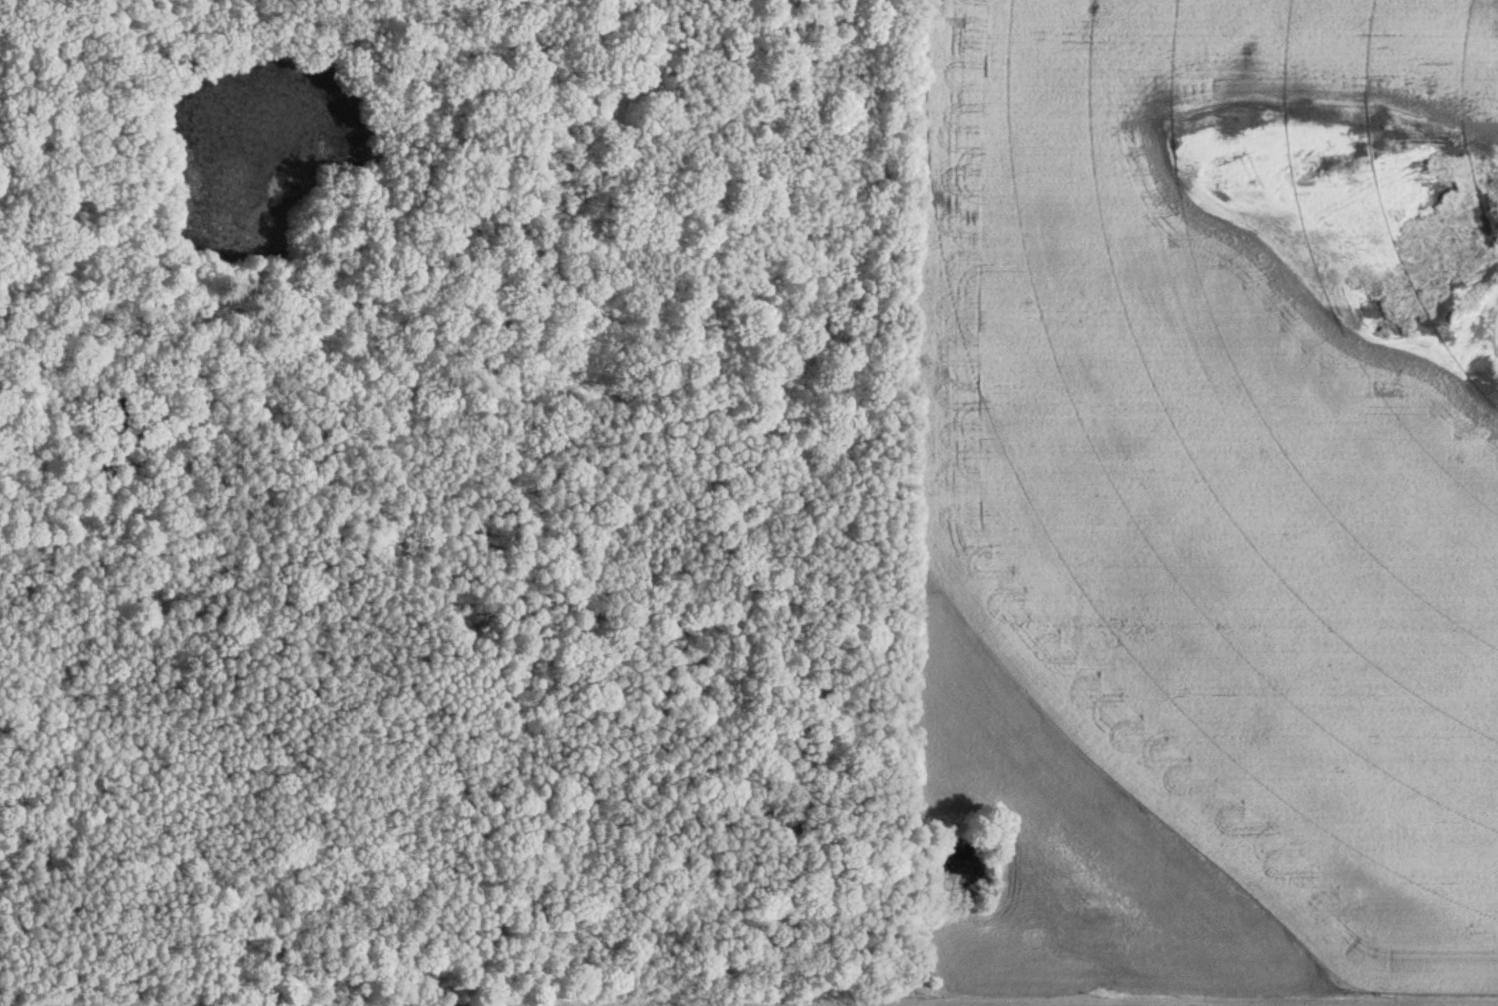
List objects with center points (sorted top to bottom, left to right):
road: (507, 503)

